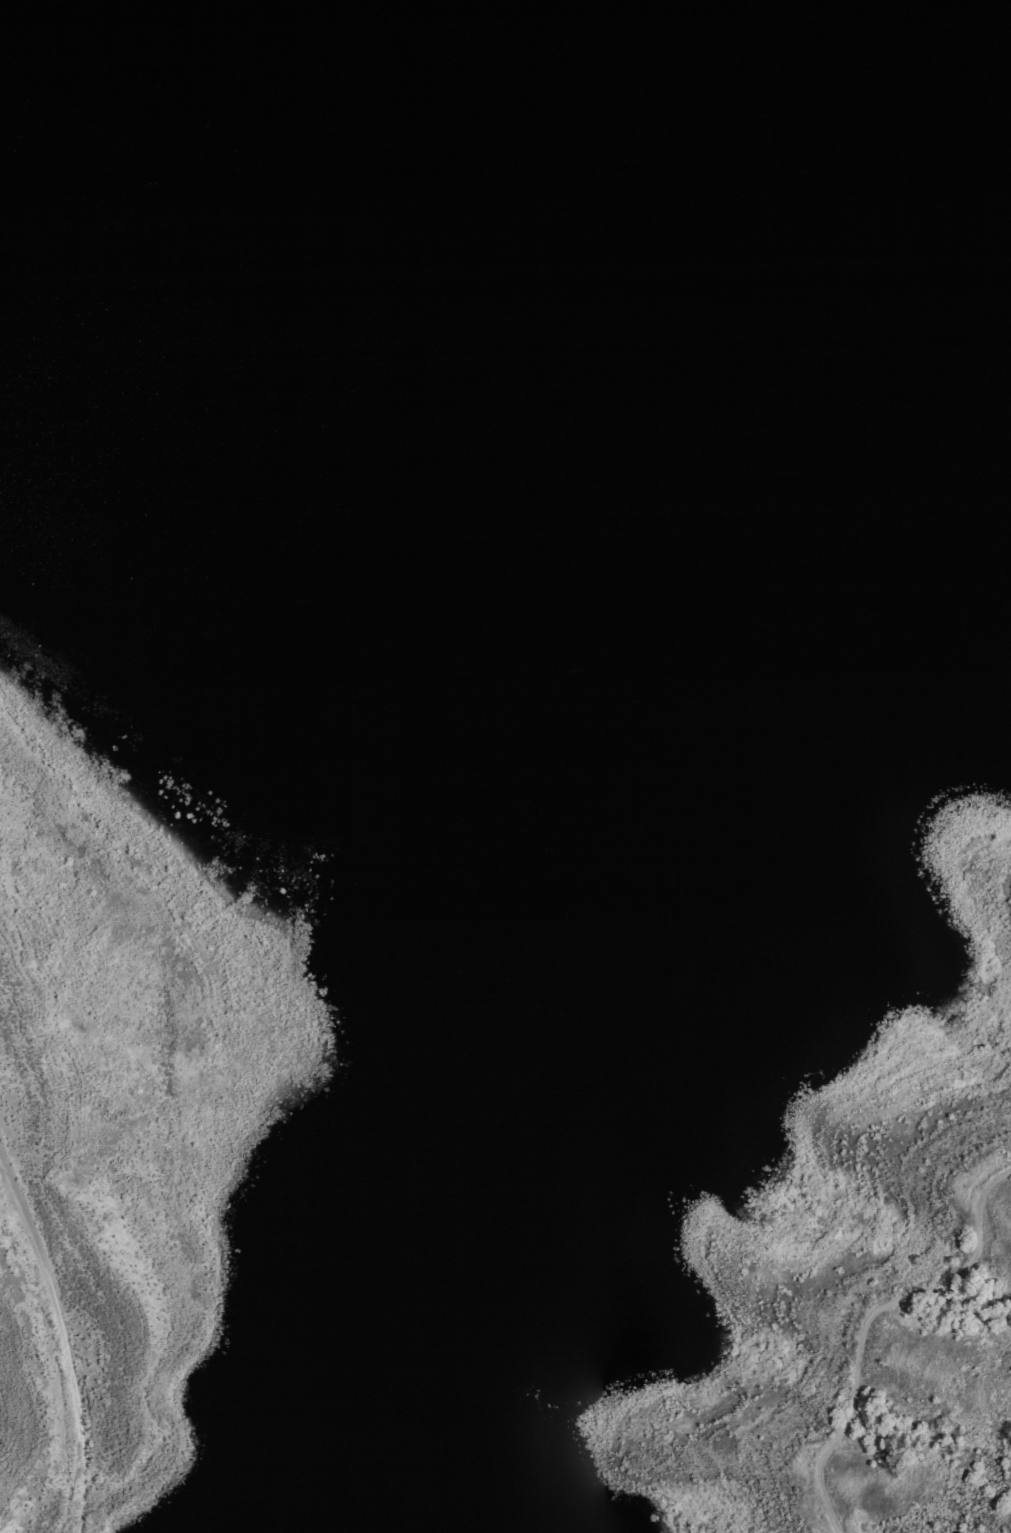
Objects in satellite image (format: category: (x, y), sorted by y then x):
park: (136, 1071)
road: (868, 1317)
road: (63, 1340)

